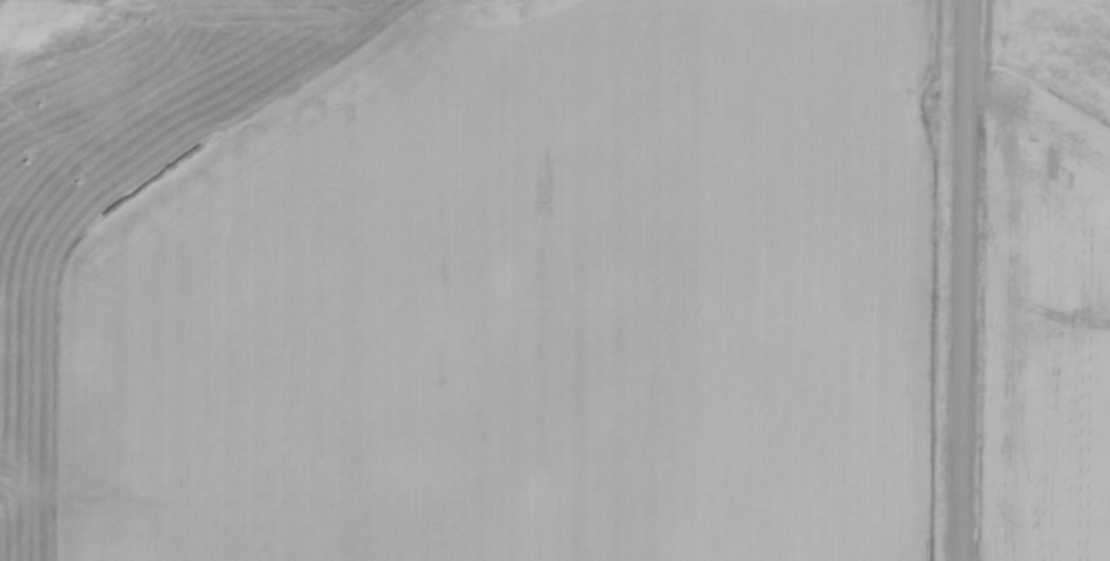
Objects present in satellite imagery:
road: (956, 280)

